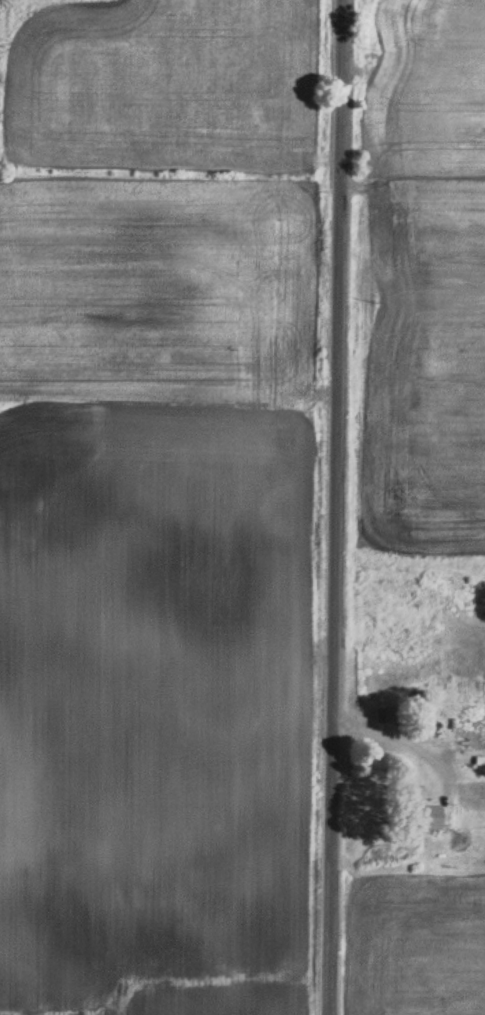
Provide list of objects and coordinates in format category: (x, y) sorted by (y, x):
crop: (426, 84)
crop: (425, 364)
road: (329, 507)
road: (399, 739)
building: (468, 743)
building: (472, 789)
building: (420, 819)
crop: (418, 945)

